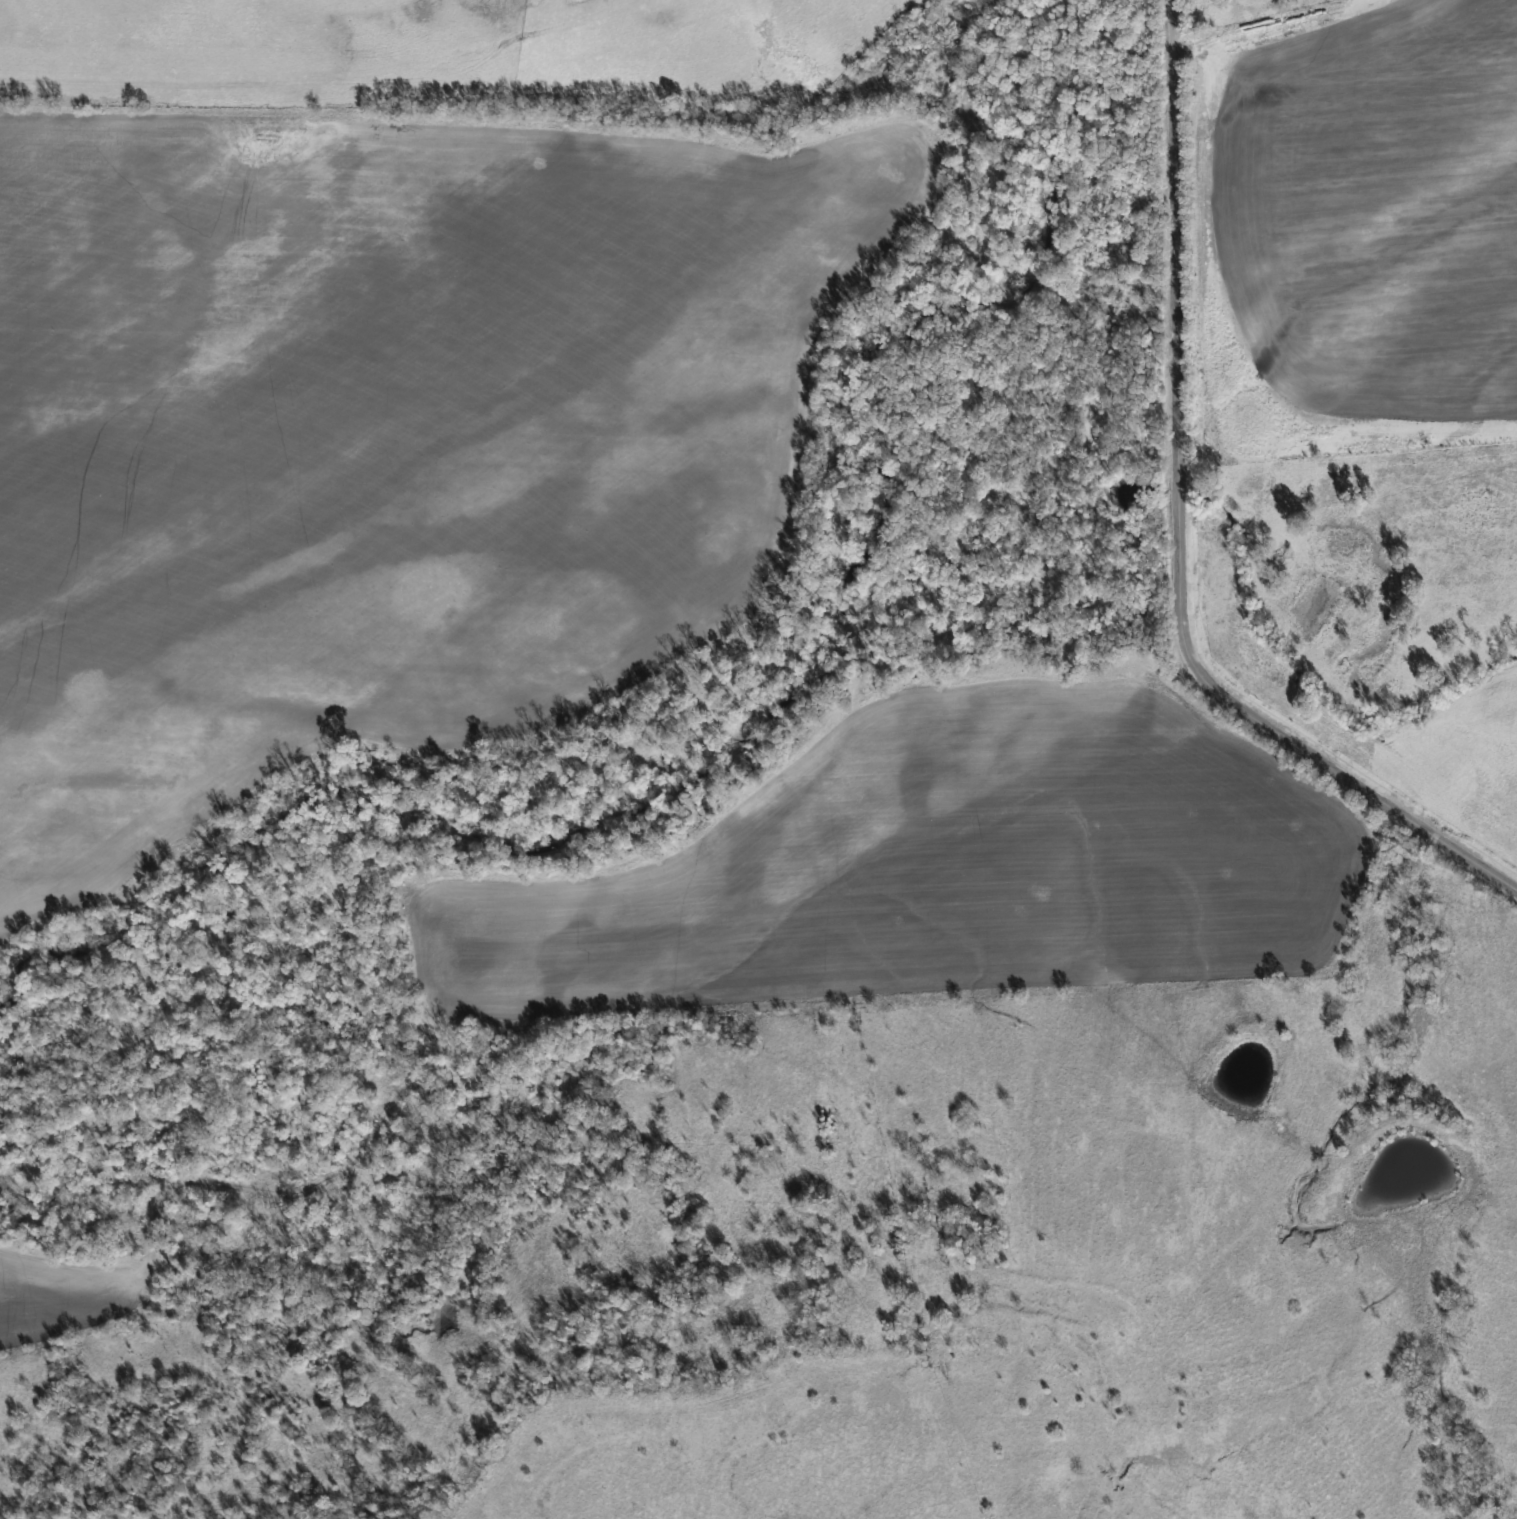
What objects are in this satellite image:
road: (1186, 531)

